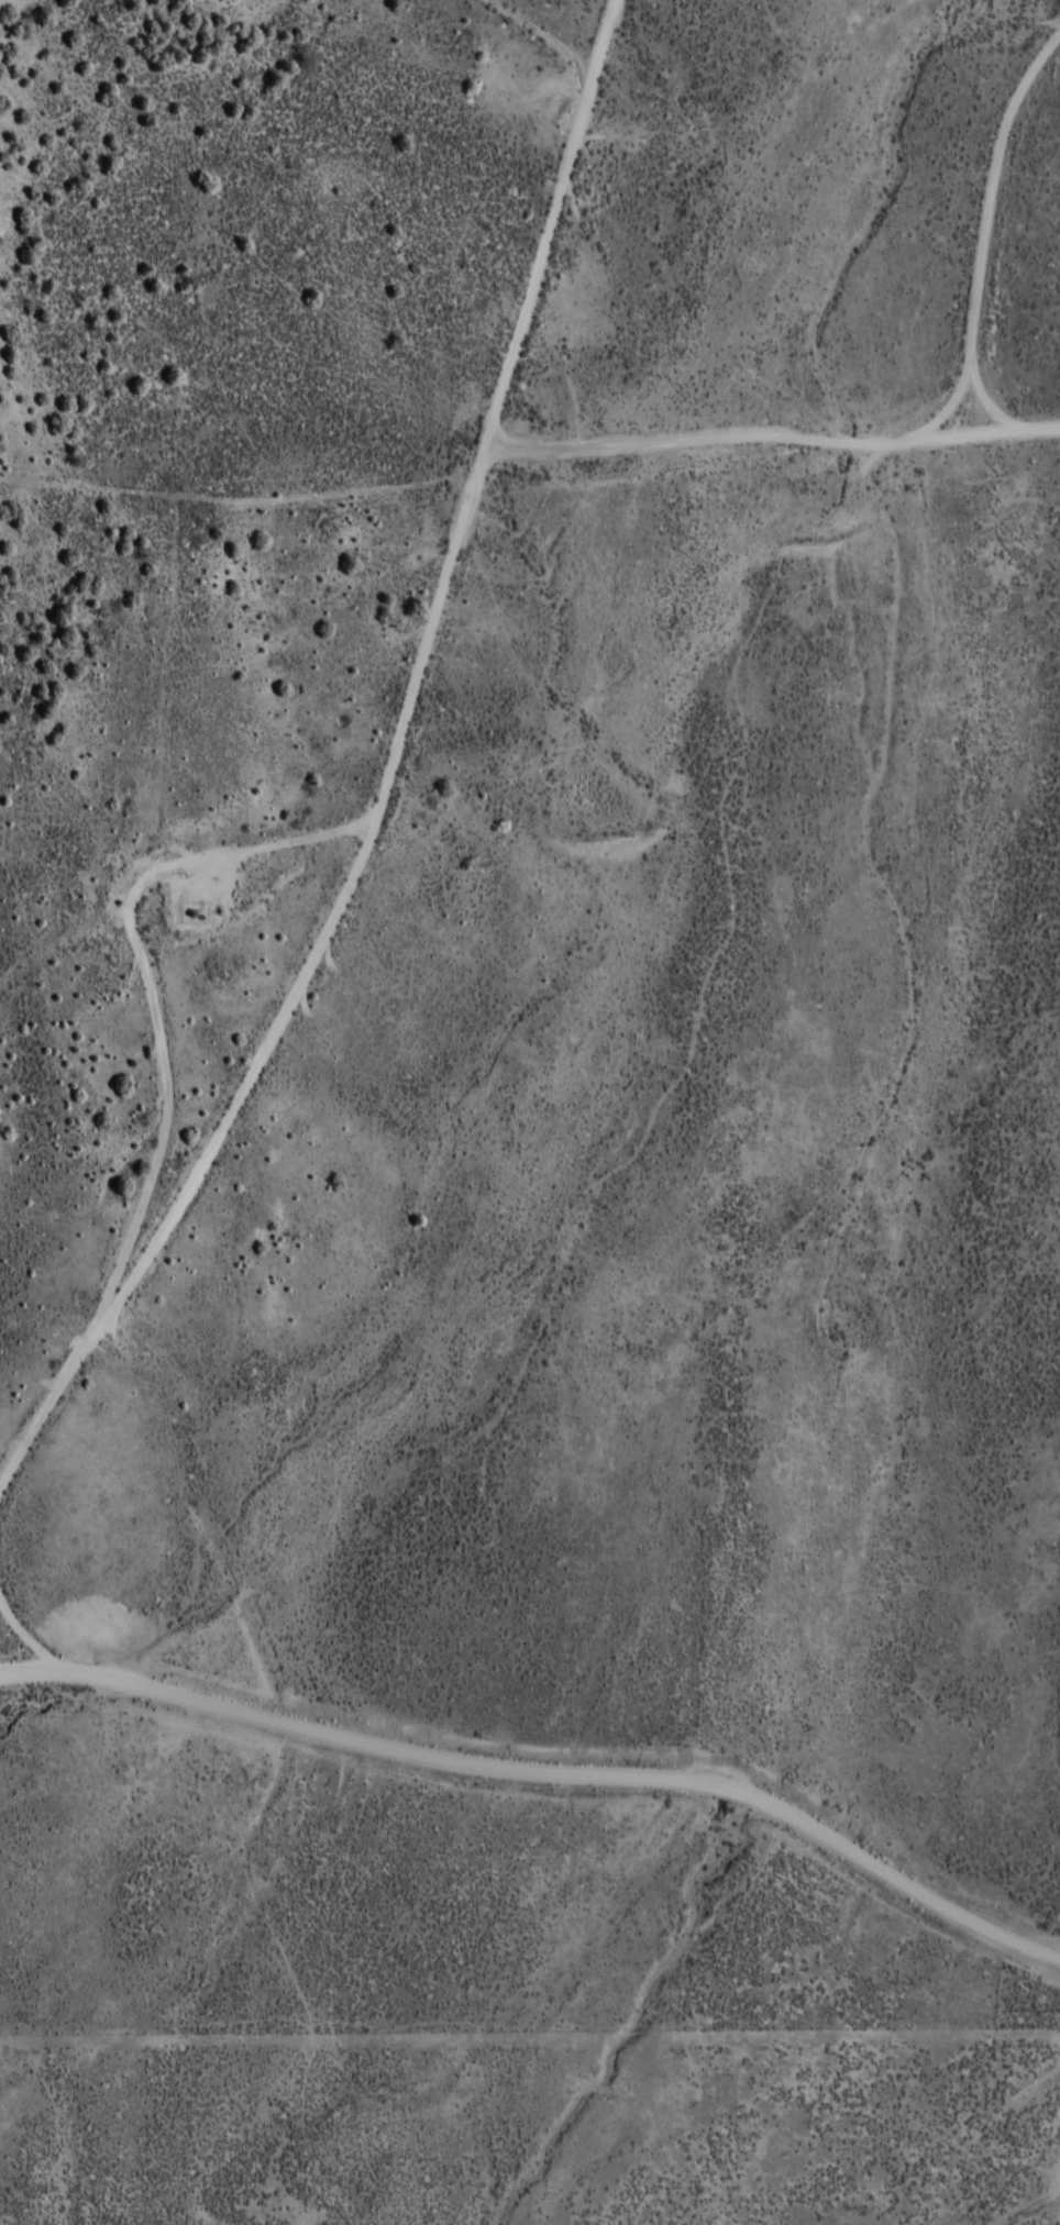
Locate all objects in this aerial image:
road: (581, 24)
road: (772, 514)
road: (380, 786)
road: (539, 1763)

